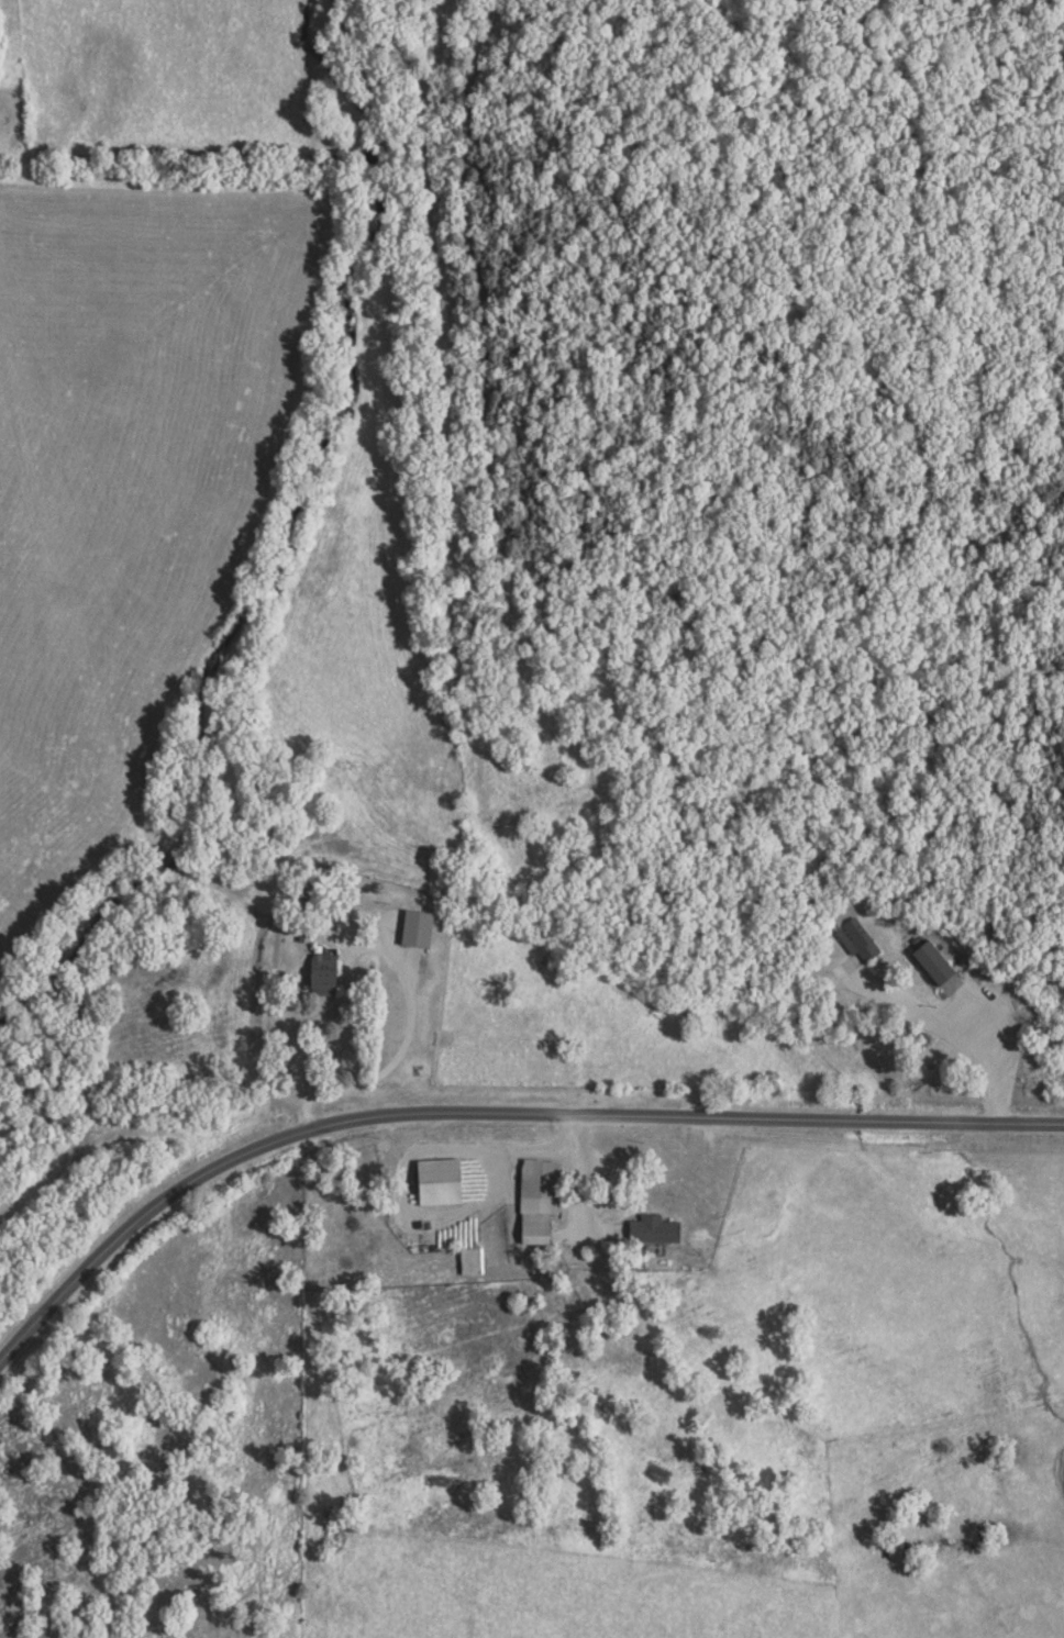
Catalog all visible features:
road: (243, 559)
building: (418, 925)
building: (855, 932)
building: (932, 958)
building: (322, 970)
road: (941, 1029)
road: (489, 1115)
road: (501, 1152)
building: (530, 1175)
road: (632, 1177)
building: (437, 1179)
building: (535, 1226)
building: (652, 1226)
building: (472, 1258)

